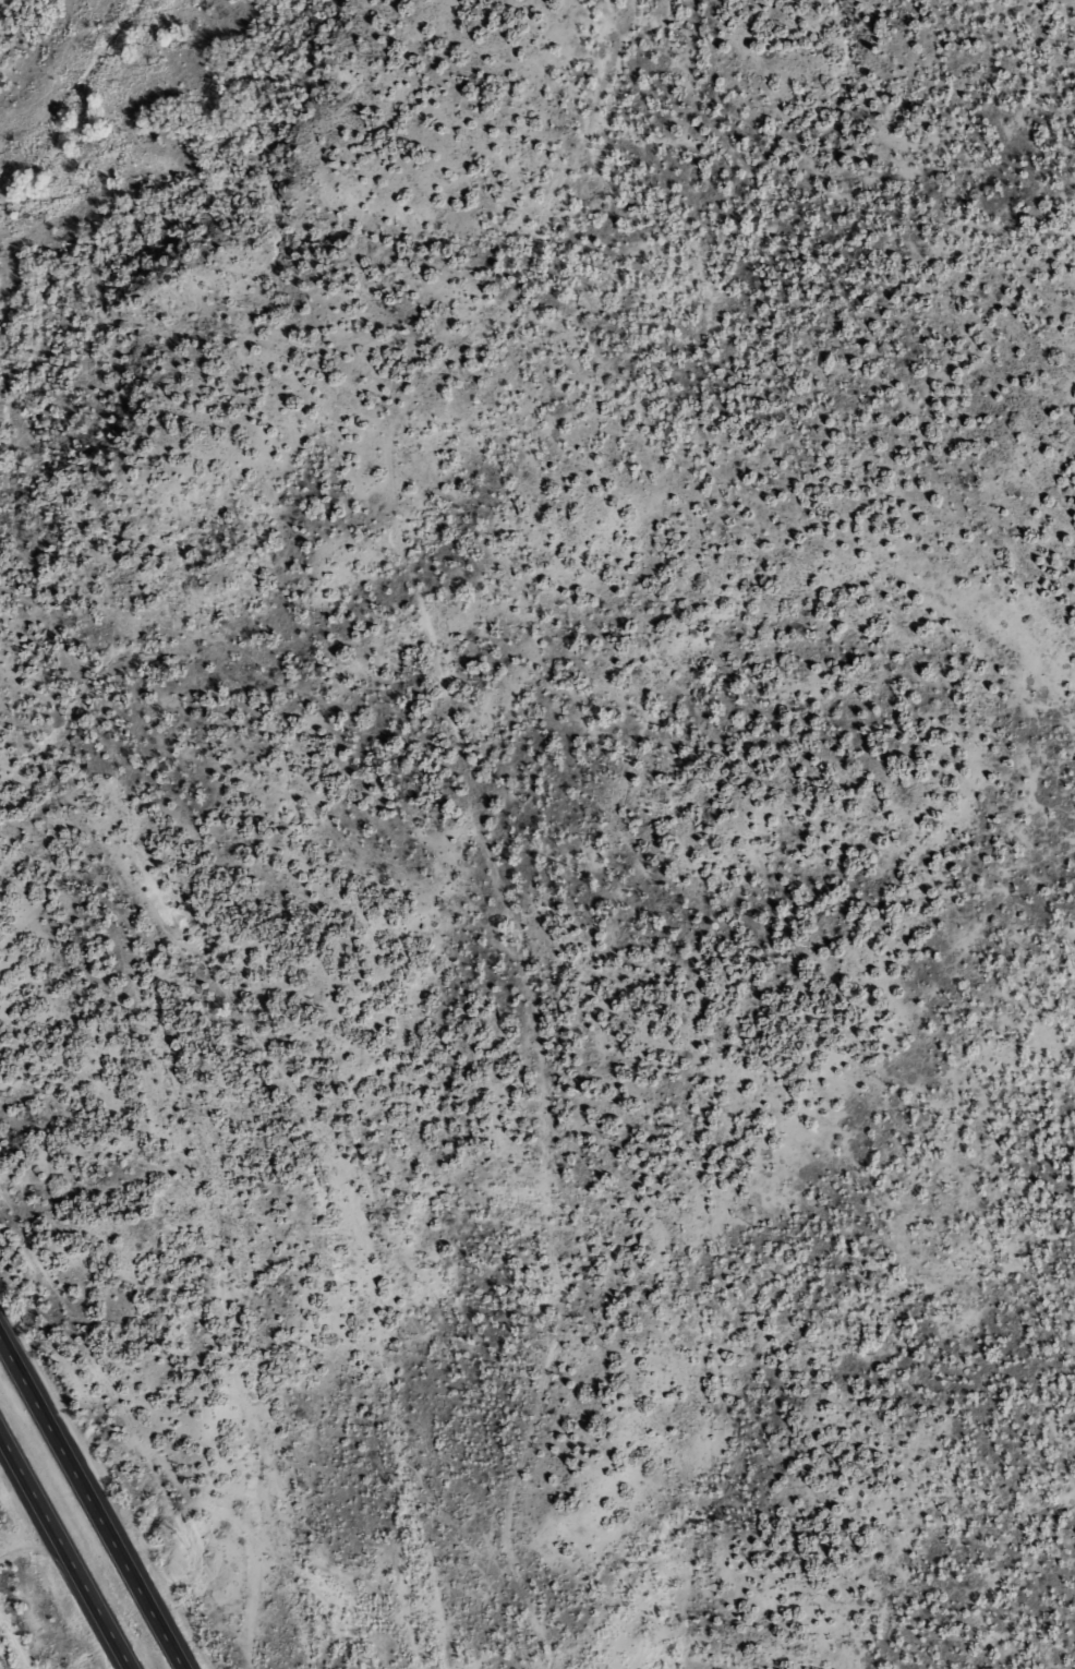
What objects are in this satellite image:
road: (90, 1505)
road: (70, 1544)

